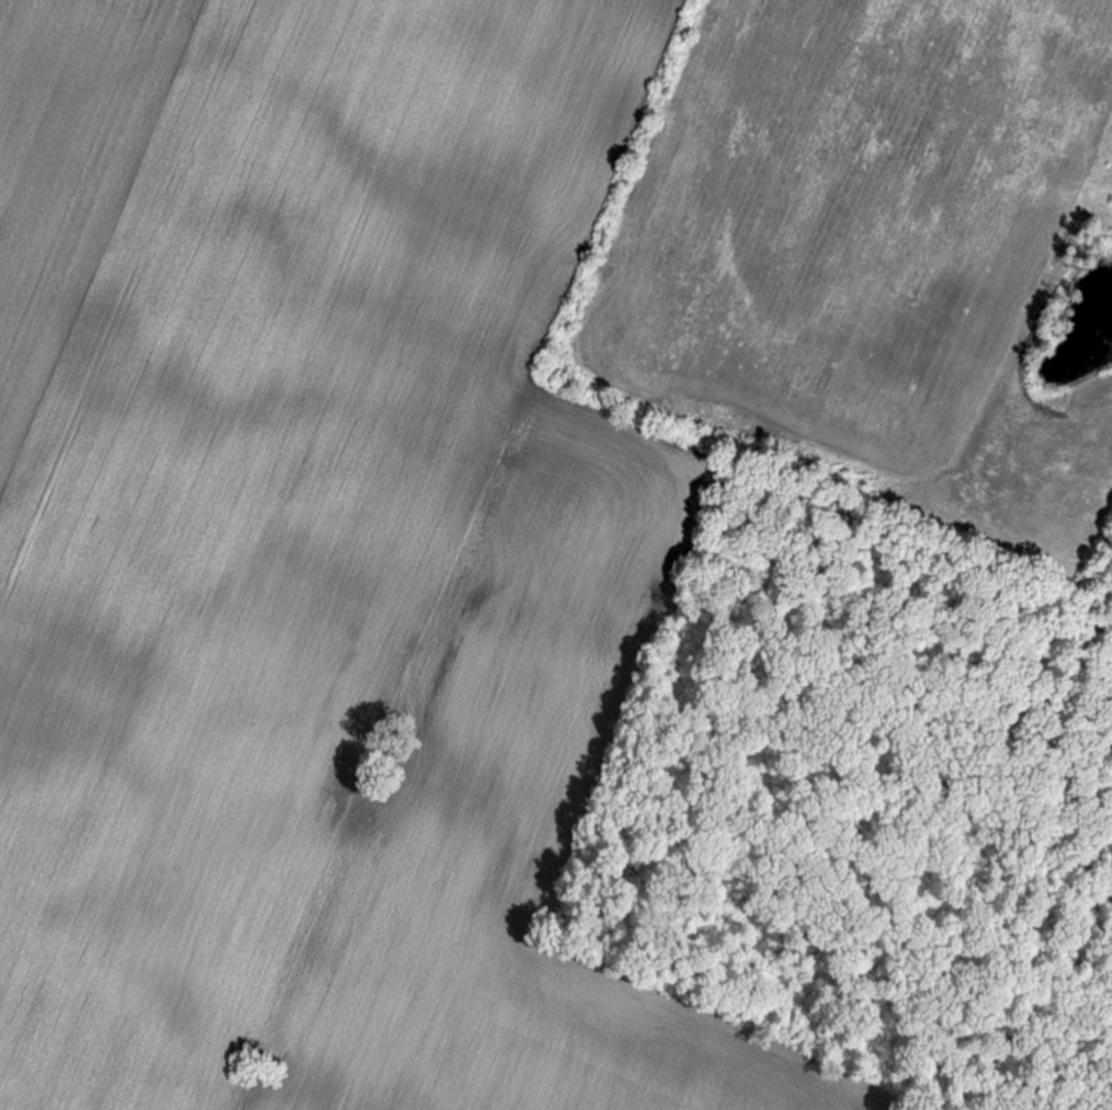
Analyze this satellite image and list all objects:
crop: (865, 241)
crop: (252, 470)
crop: (524, 850)

